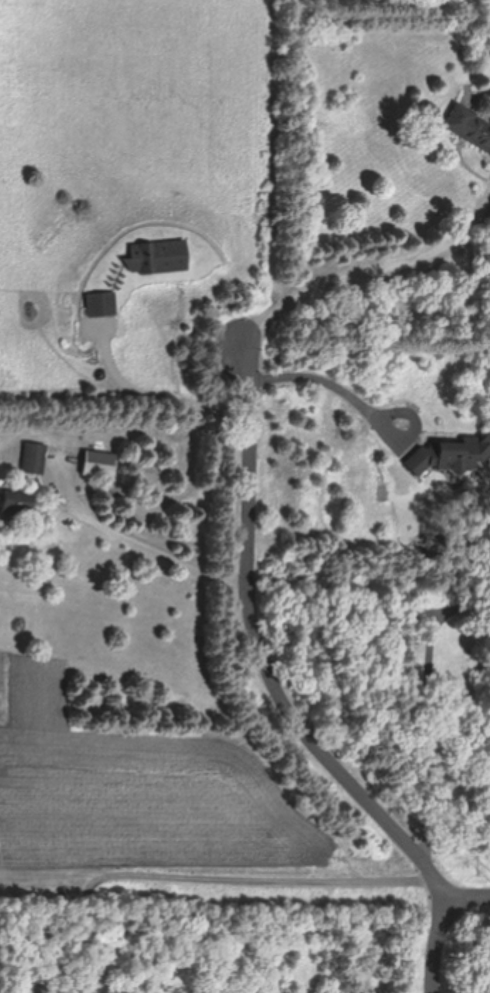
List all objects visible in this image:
building: (469, 126)
building: (157, 256)
road: (362, 275)
building: (100, 303)
road: (339, 385)
road: (161, 398)
building: (446, 455)
building: (34, 457)
building: (100, 464)
building: (16, 504)
road: (149, 550)
road: (264, 645)
road: (432, 703)
road: (214, 873)
road: (442, 884)
road: (466, 892)
road: (441, 943)

